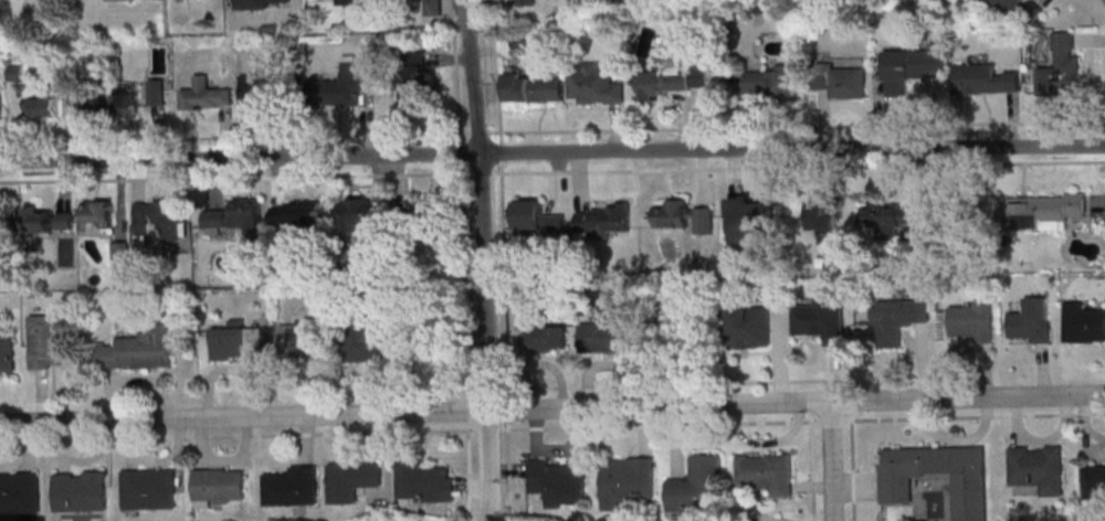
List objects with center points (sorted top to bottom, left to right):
building: (350, 1)
building: (262, 2)
building: (526, 2)
building: (1007, 4)
building: (911, 67)
building: (1061, 67)
building: (841, 79)
building: (985, 79)
building: (417, 81)
building: (673, 81)
building: (773, 83)
building: (594, 85)
building: (346, 86)
building: (534, 86)
building: (262, 88)
building: (208, 92)
building: (126, 100)
building: (90, 102)
building: (0, 103)
building: (42, 106)
road: (552, 152)
building: (1041, 210)
building: (97, 211)
building: (248, 212)
building: (285, 212)
building: (358, 213)
building: (825, 215)
building: (682, 216)
building: (538, 217)
building: (888, 217)
building: (45, 219)
building: (159, 220)
building: (215, 220)
building: (749, 220)
building: (434, 221)
building: (603, 221)
building: (3, 223)
road: (483, 259)
building: (821, 318)
building: (896, 319)
road: (503, 320)
building: (972, 320)
building: (1031, 320)
building: (1083, 322)
building: (750, 327)
building: (608, 336)
building: (301, 339)
building: (544, 339)
building: (368, 341)
building: (50, 342)
building: (238, 343)
building: (139, 349)
building: (8, 357)
road: (672, 383)
road: (552, 408)
road: (975, 416)
road: (831, 419)
road: (409, 430)
road: (831, 460)
building: (1038, 467)
road: (852, 469)
road: (812, 470)
building: (766, 472)
road: (469, 475)
building: (1094, 476)
building: (351, 479)
building: (625, 480)
building: (423, 481)
building: (557, 482)
building: (220, 486)
building: (293, 487)
building: (697, 487)
building: (146, 489)
building: (969, 489)
building: (77, 491)
building: (18, 492)
building: (756, 520)

